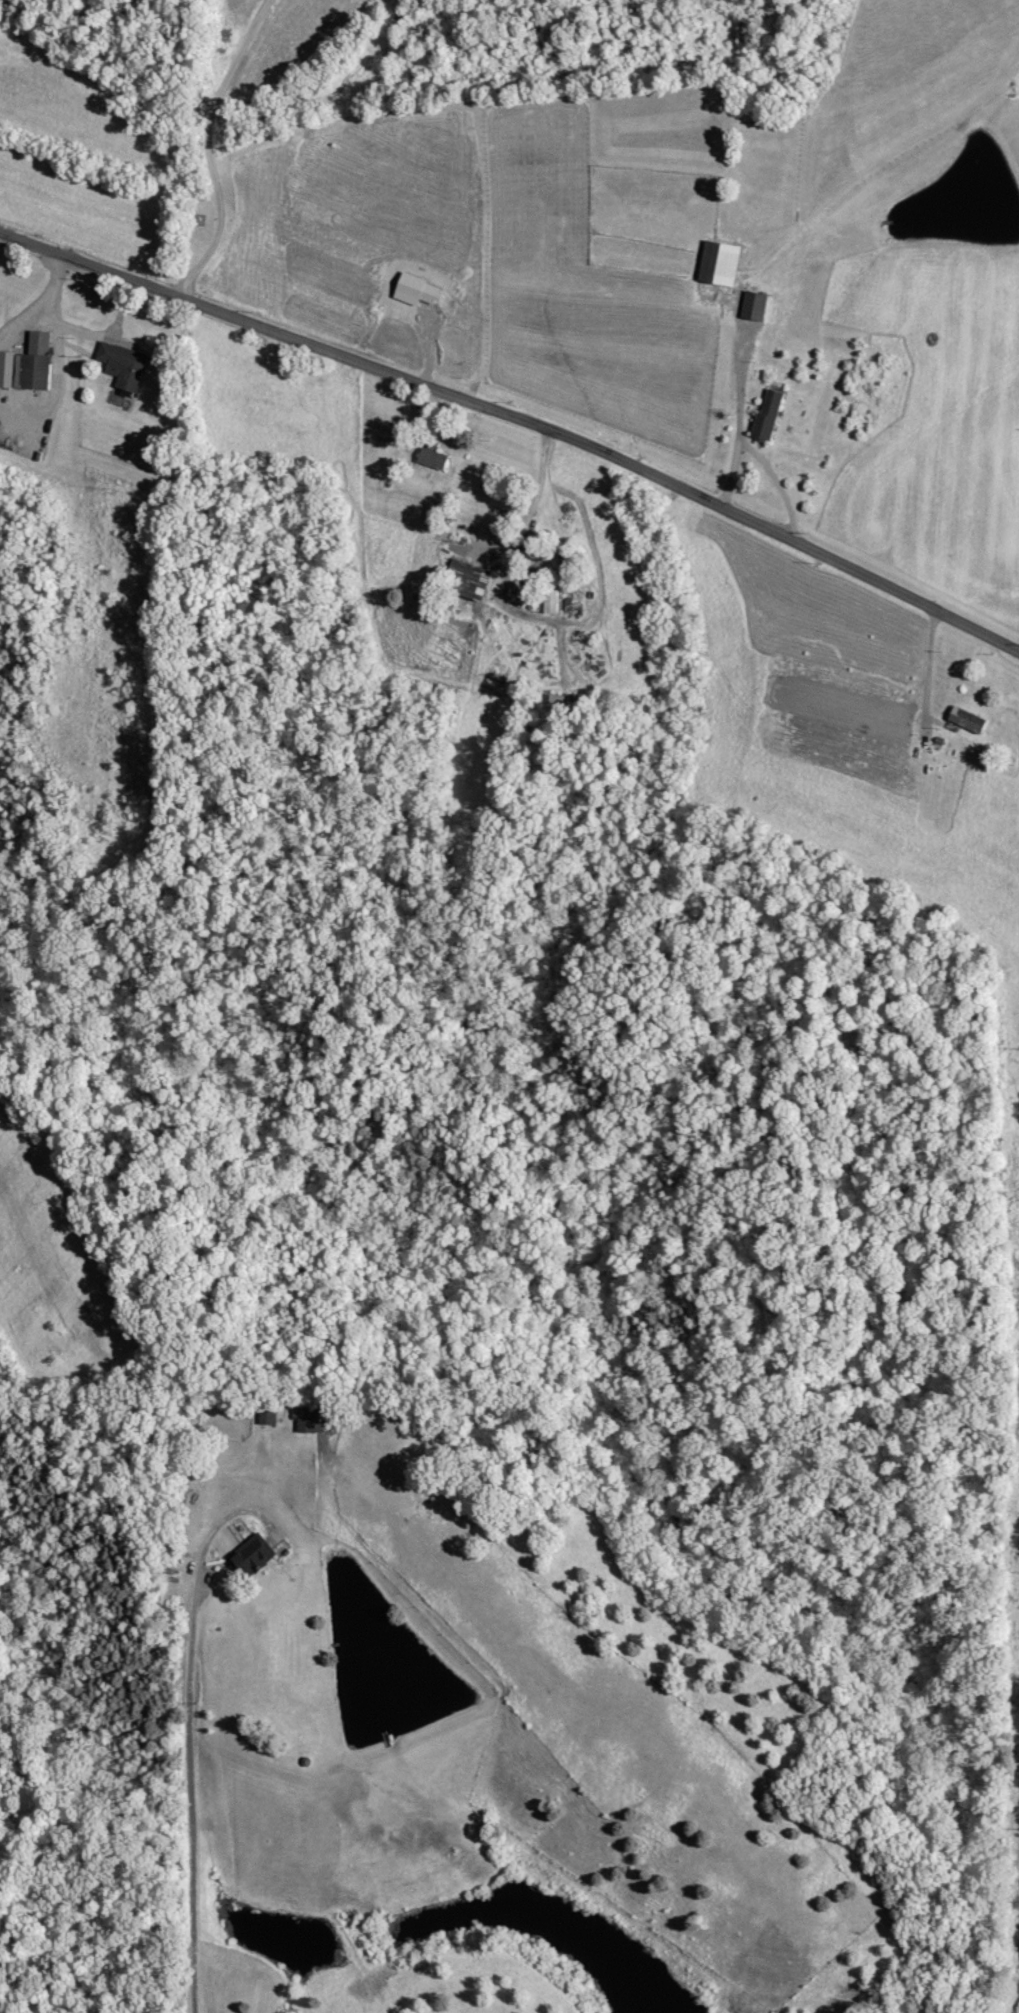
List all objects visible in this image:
road: (210, 145)
building: (721, 263)
building: (755, 305)
building: (124, 364)
building: (29, 365)
building: (769, 416)
road: (517, 419)
building: (434, 459)
building: (534, 547)
building: (472, 579)
building: (552, 601)
building: (968, 719)
building: (311, 1420)
building: (253, 1556)
road: (188, 1724)

